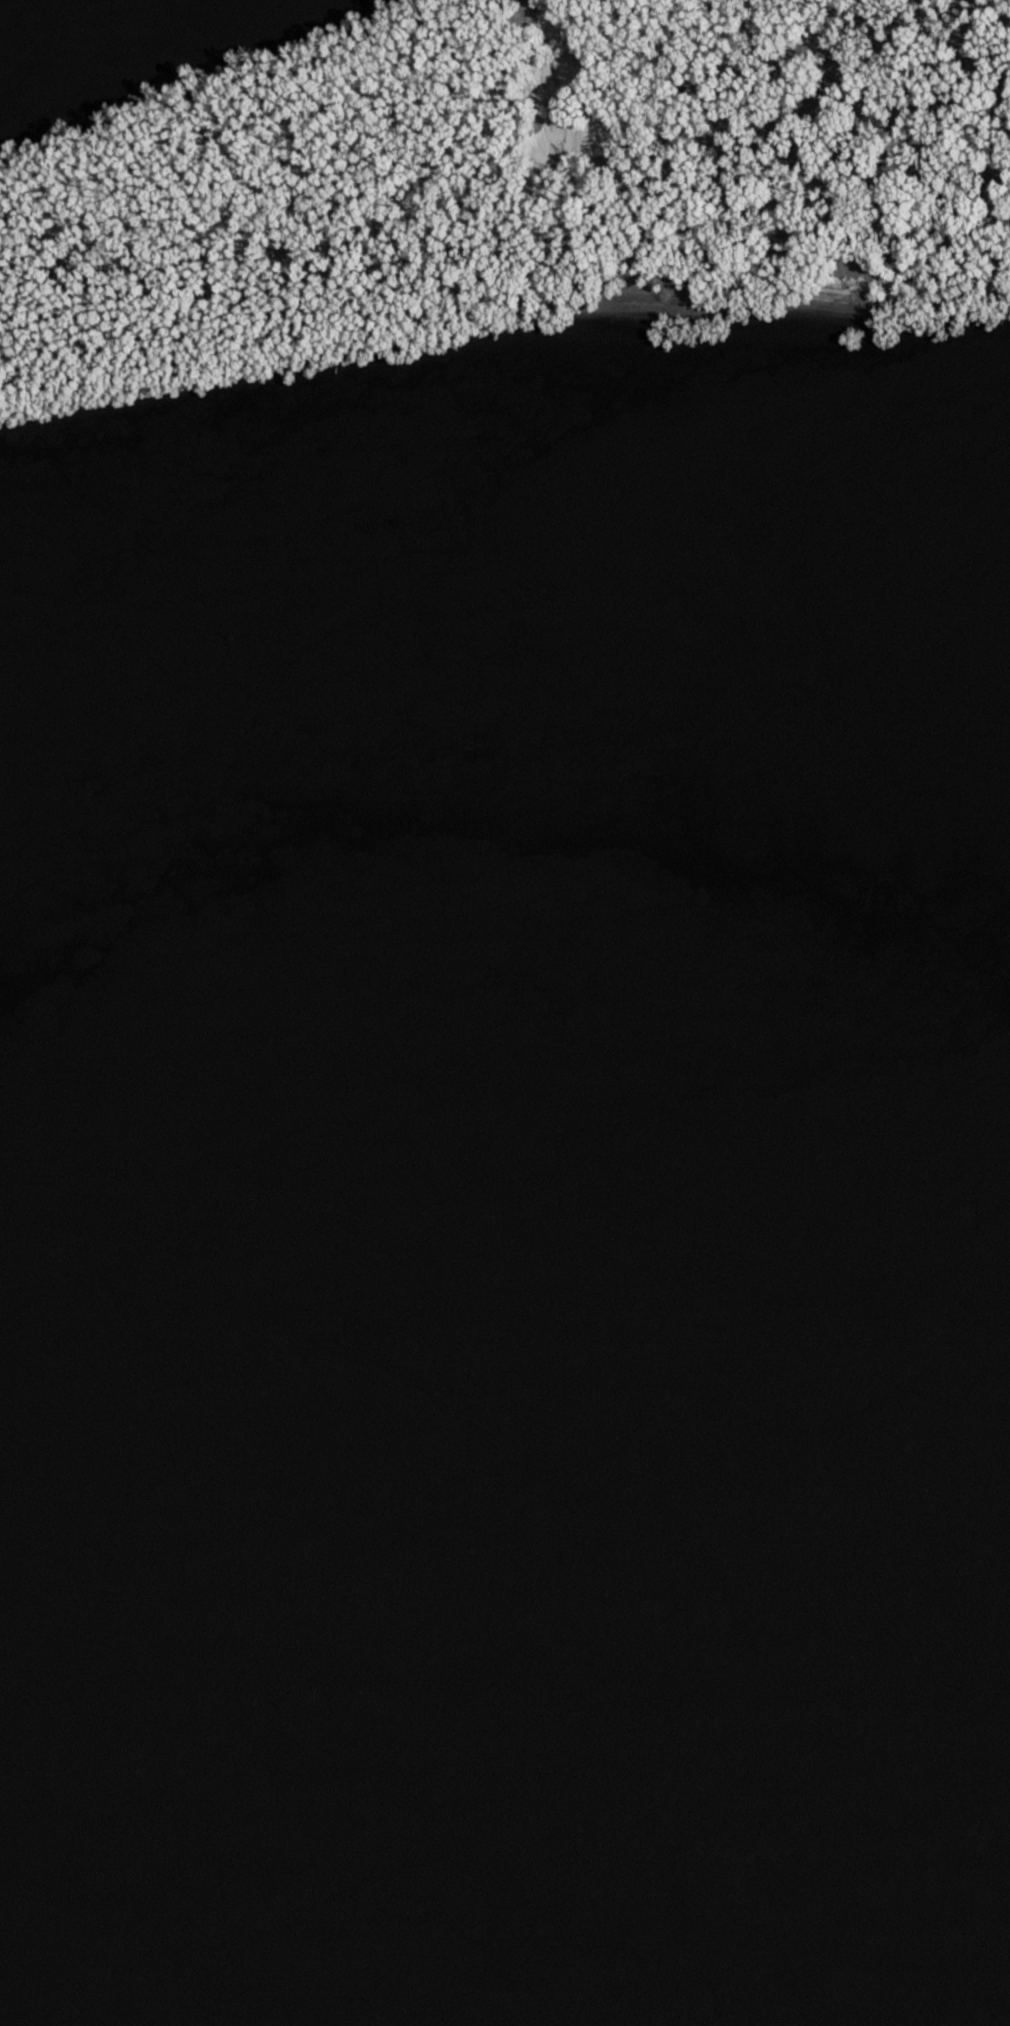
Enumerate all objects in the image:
river: (505, 1847)

